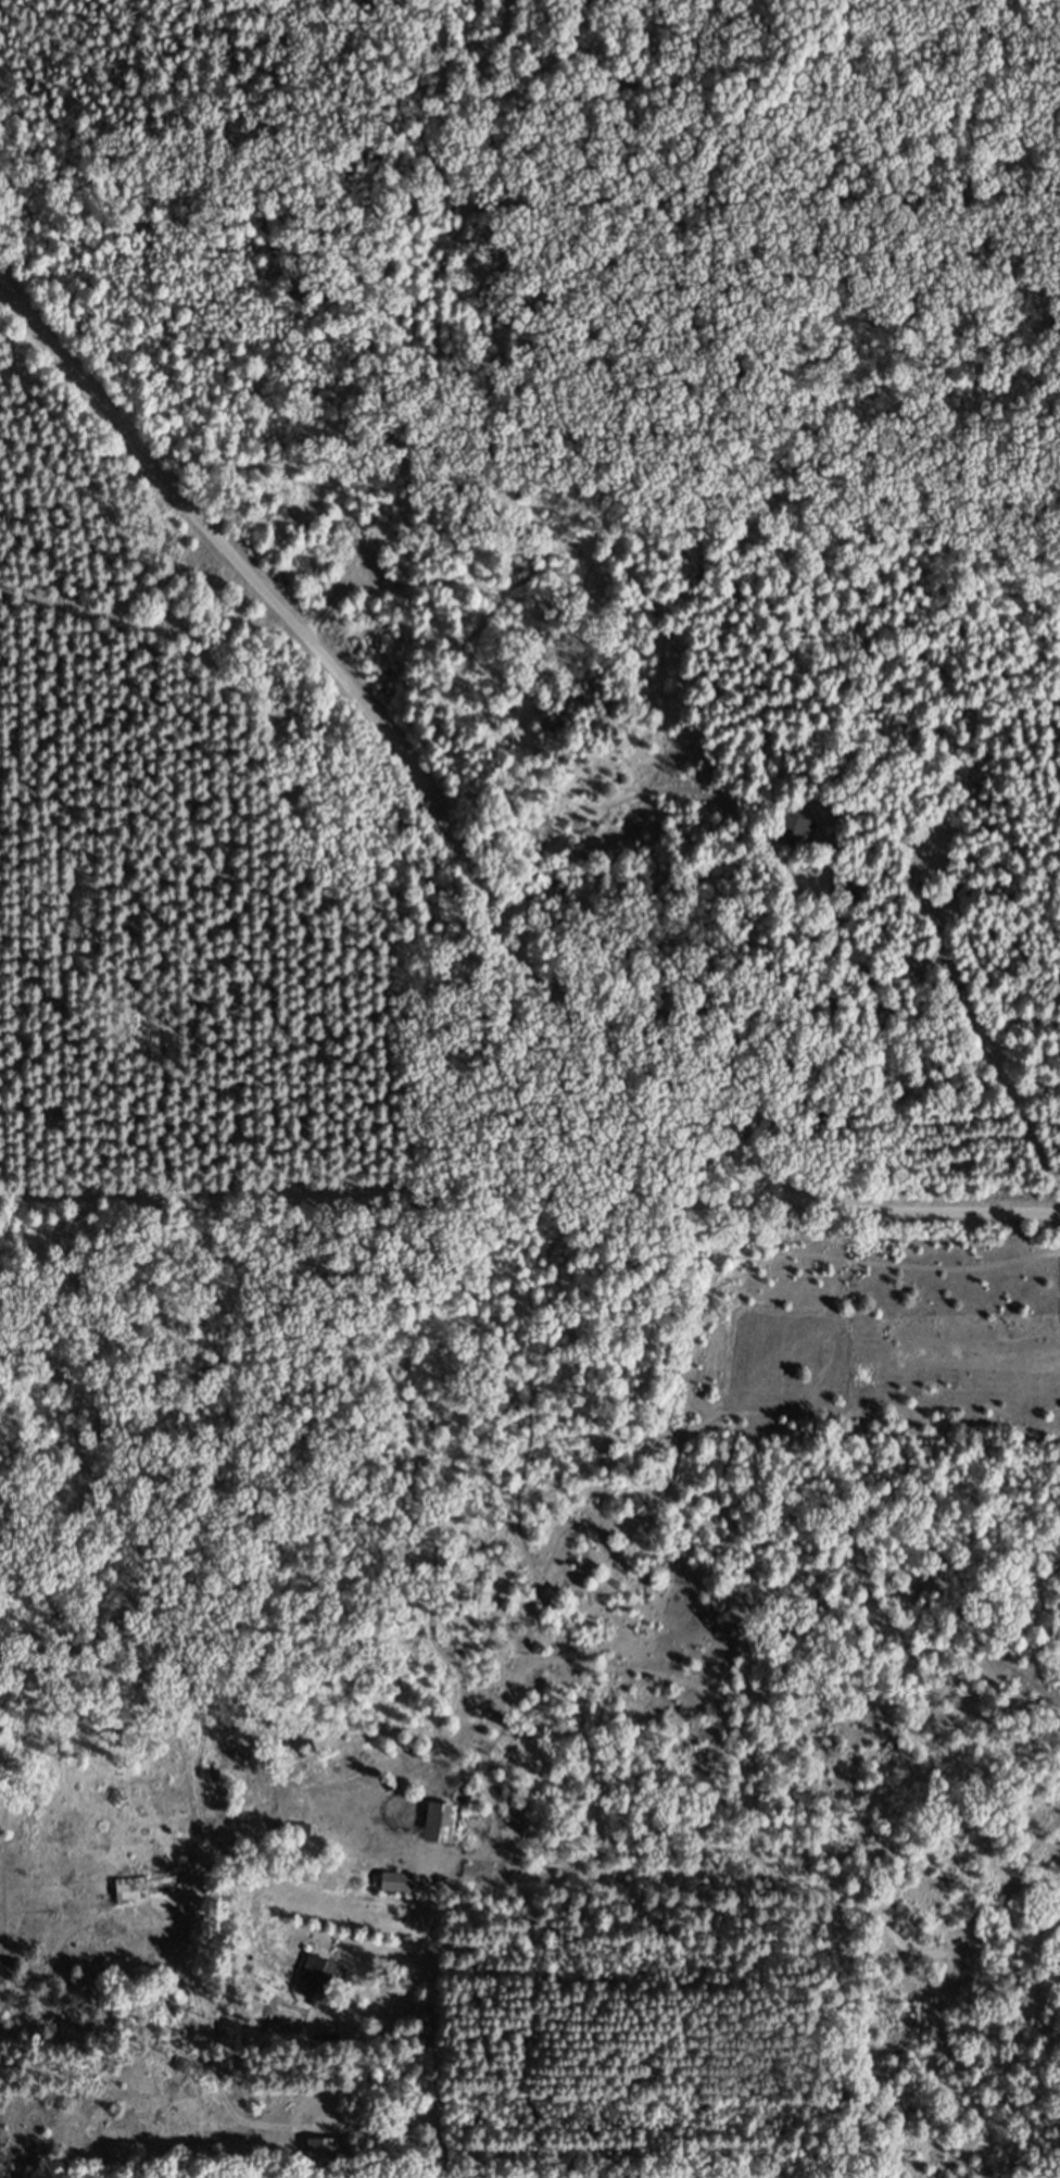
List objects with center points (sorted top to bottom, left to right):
building: (796, 841)
road: (466, 861)
building: (439, 1833)
building: (395, 1892)
building: (130, 1901)
building: (314, 1988)
building: (321, 2158)

